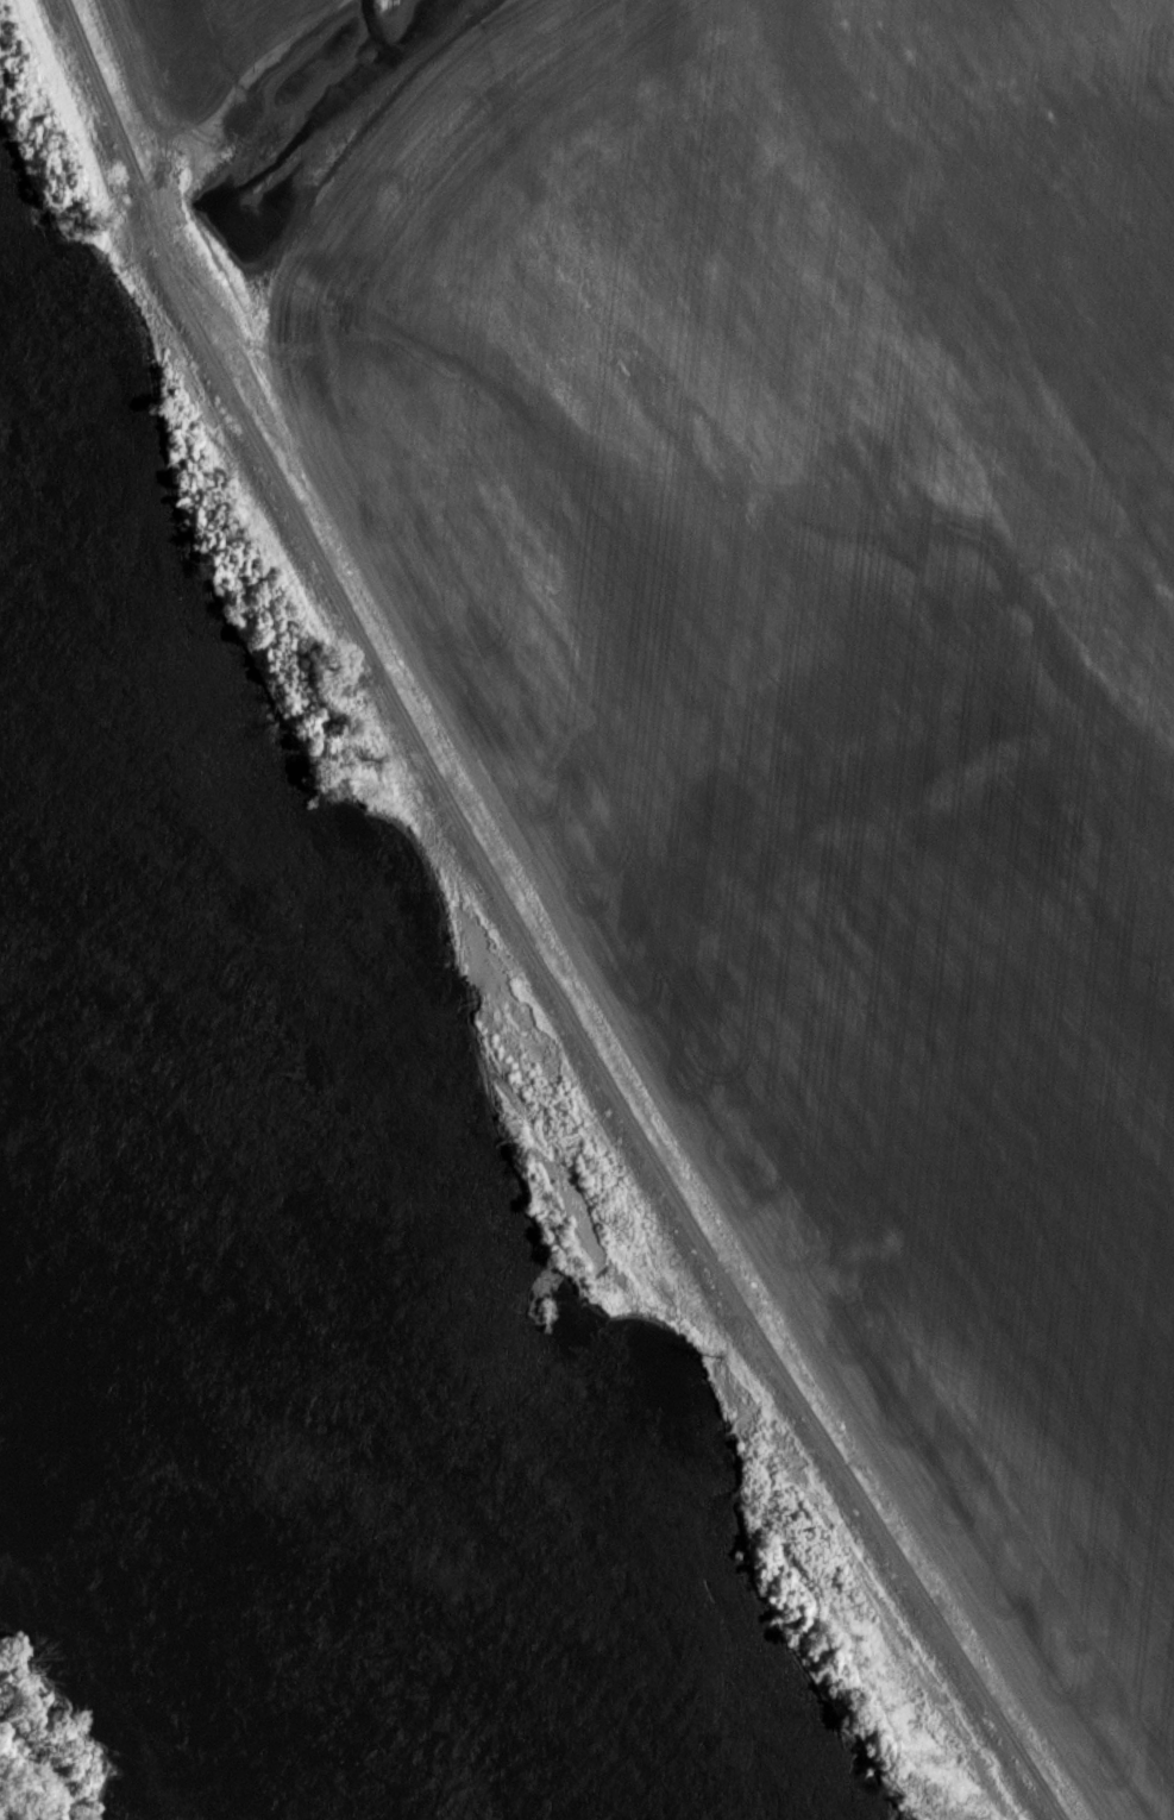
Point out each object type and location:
road: (520, 933)
river: (307, 1337)

